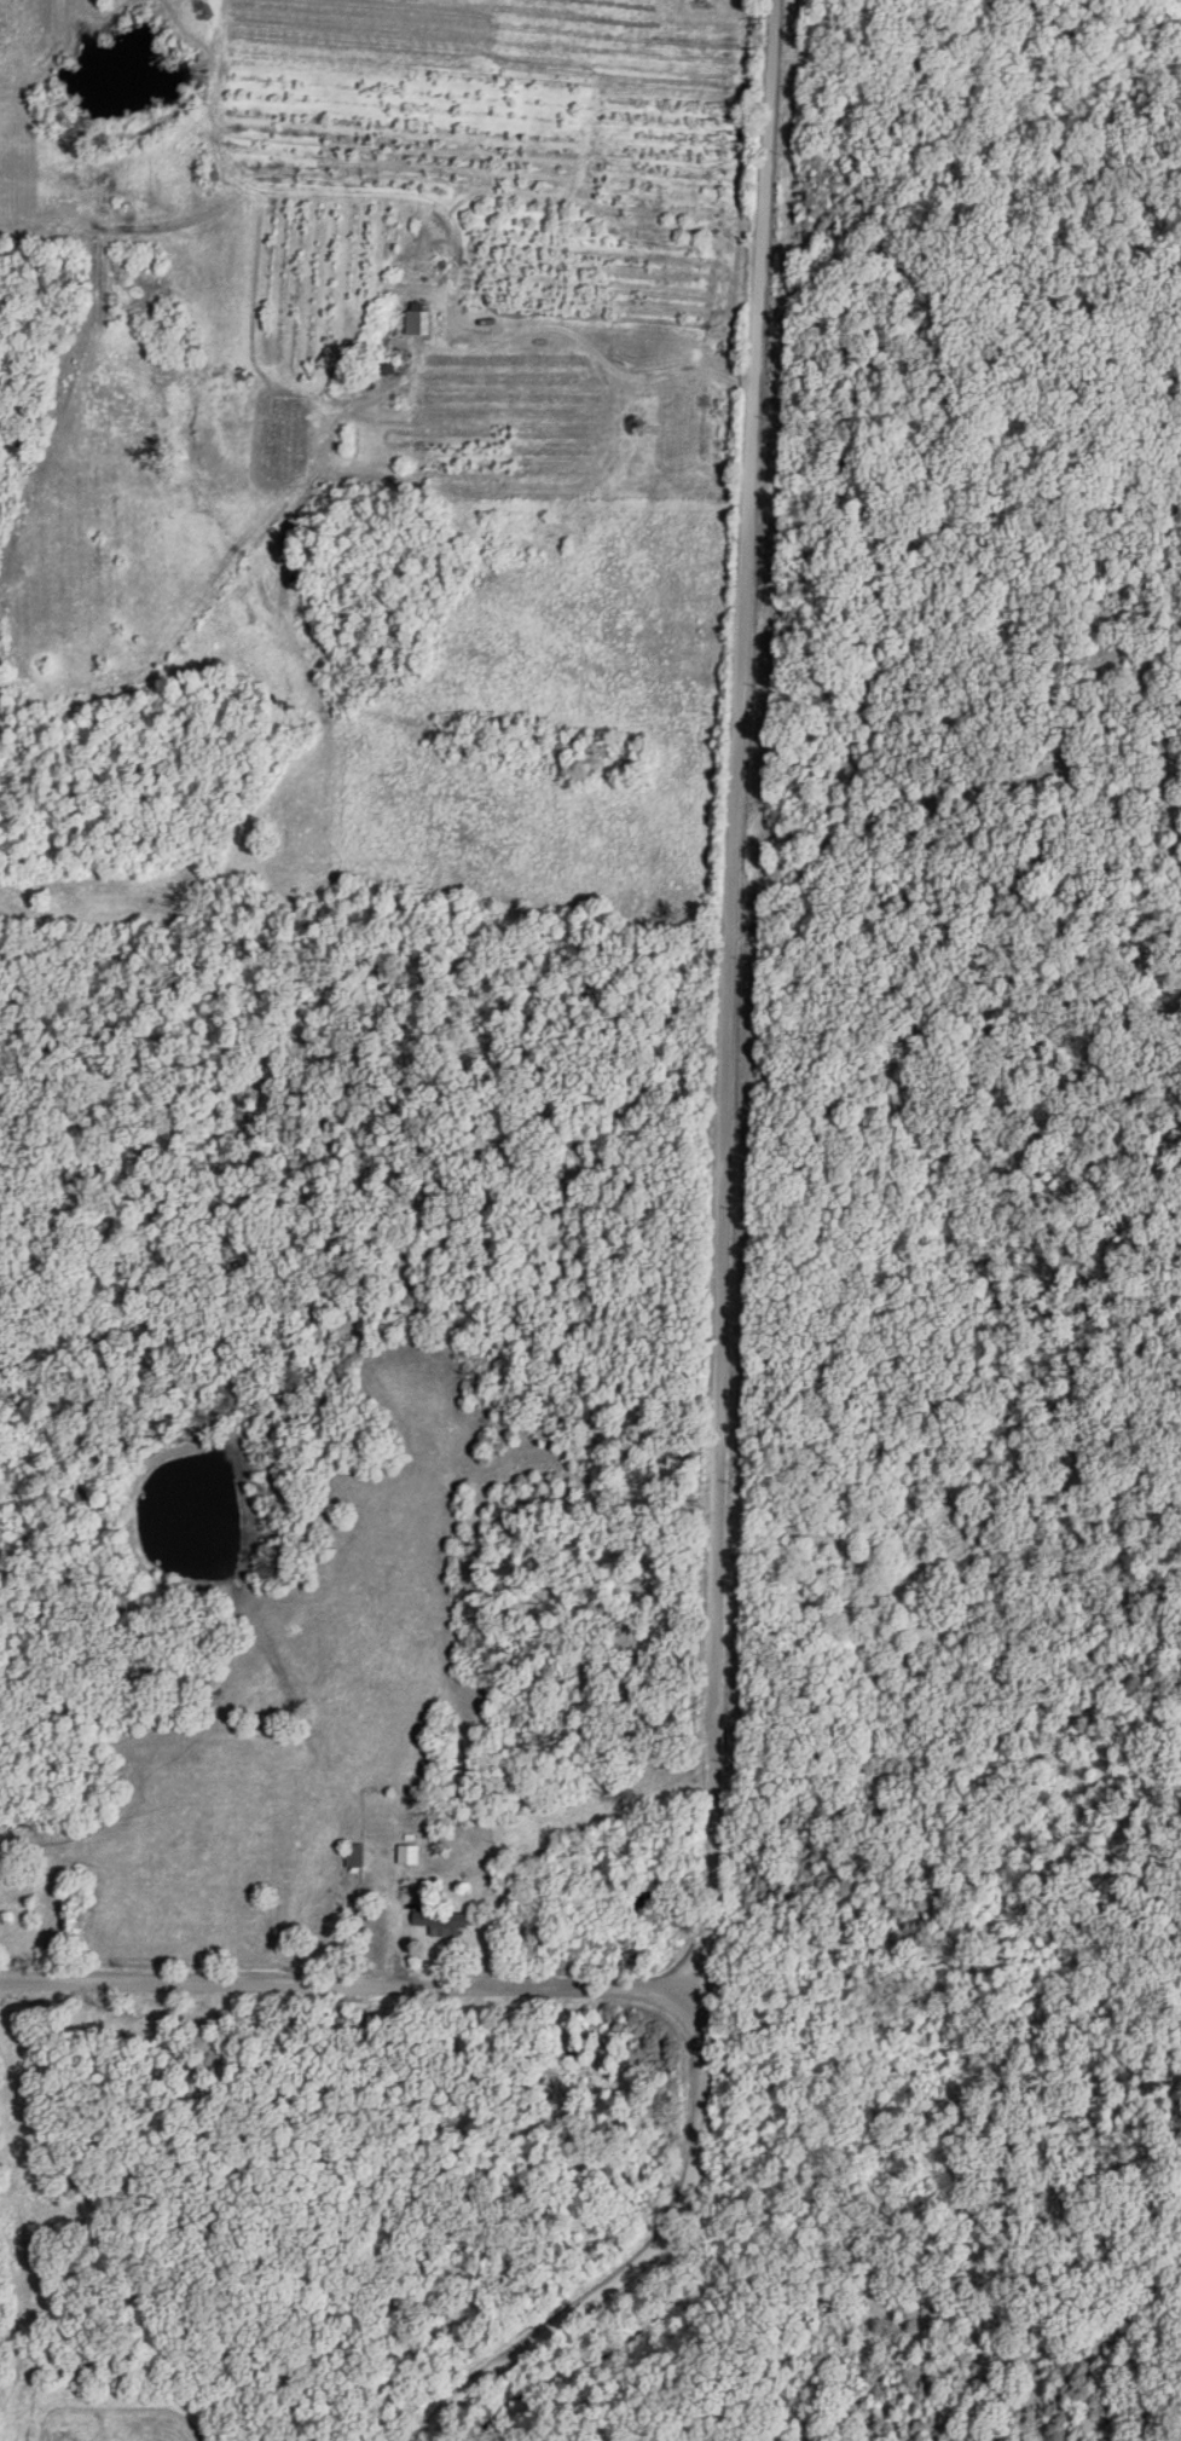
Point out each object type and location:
building: (418, 318)
road: (589, 345)
road: (734, 1014)
building: (355, 1853)
building: (409, 1853)
building: (441, 1921)
road: (355, 1996)
road: (625, 2269)

